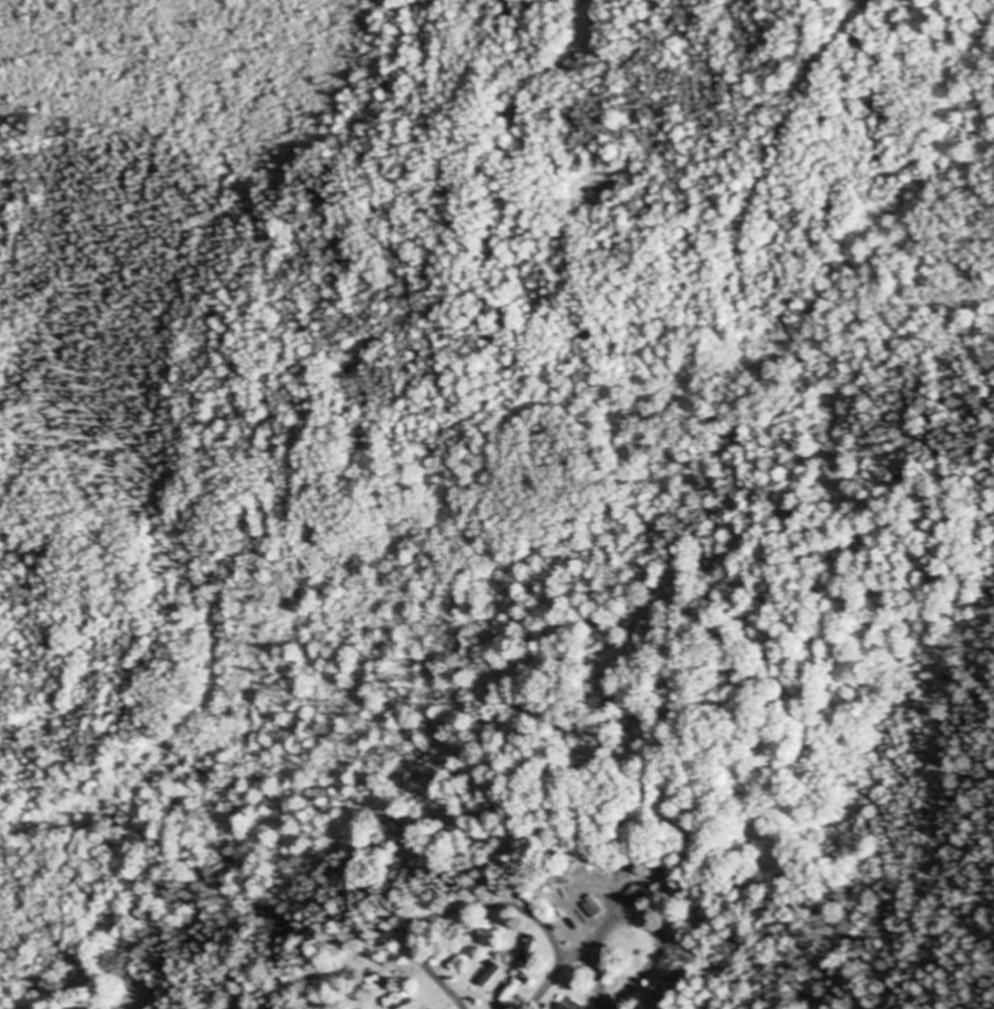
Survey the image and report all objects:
park: (976, 469)
building: (487, 933)
building: (522, 950)
building: (463, 959)
building: (375, 985)
building: (398, 999)
building: (567, 1005)

